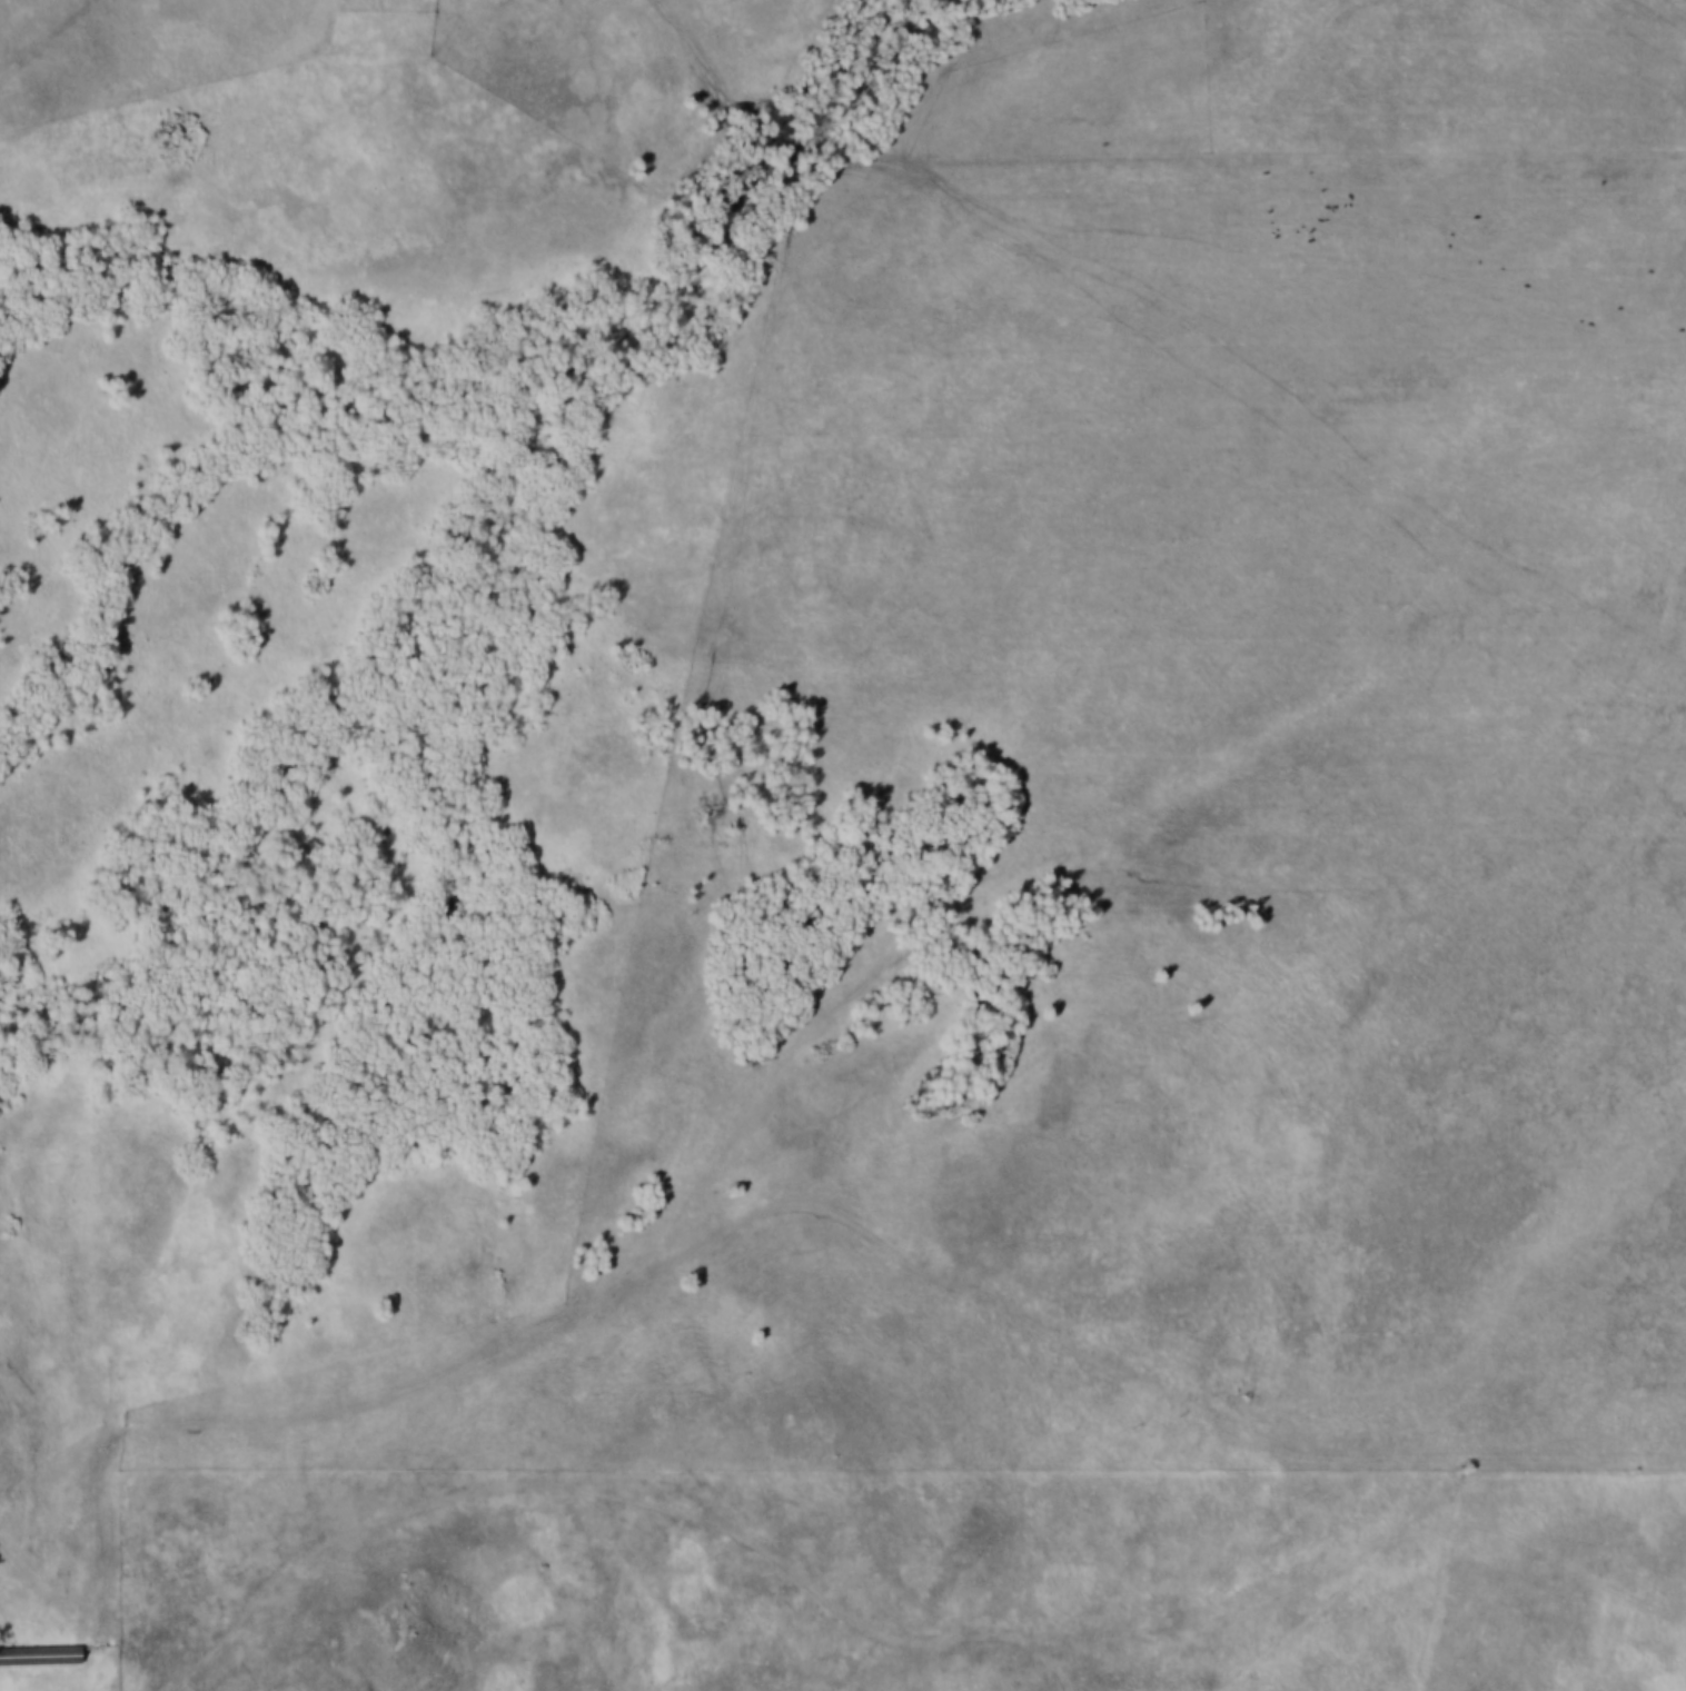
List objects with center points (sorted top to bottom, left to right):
road: (0, 11)
road: (883, 1638)
building: (70, 1654)

